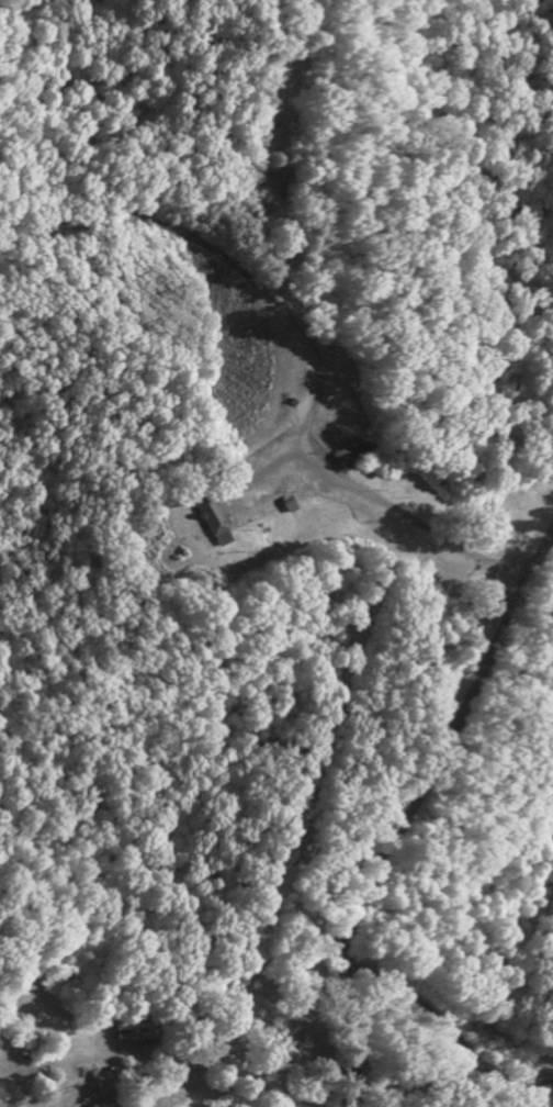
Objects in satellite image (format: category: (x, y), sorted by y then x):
road: (305, 450)
building: (348, 456)
building: (212, 522)
road: (410, 808)
road: (445, 1028)
road: (191, 1058)

